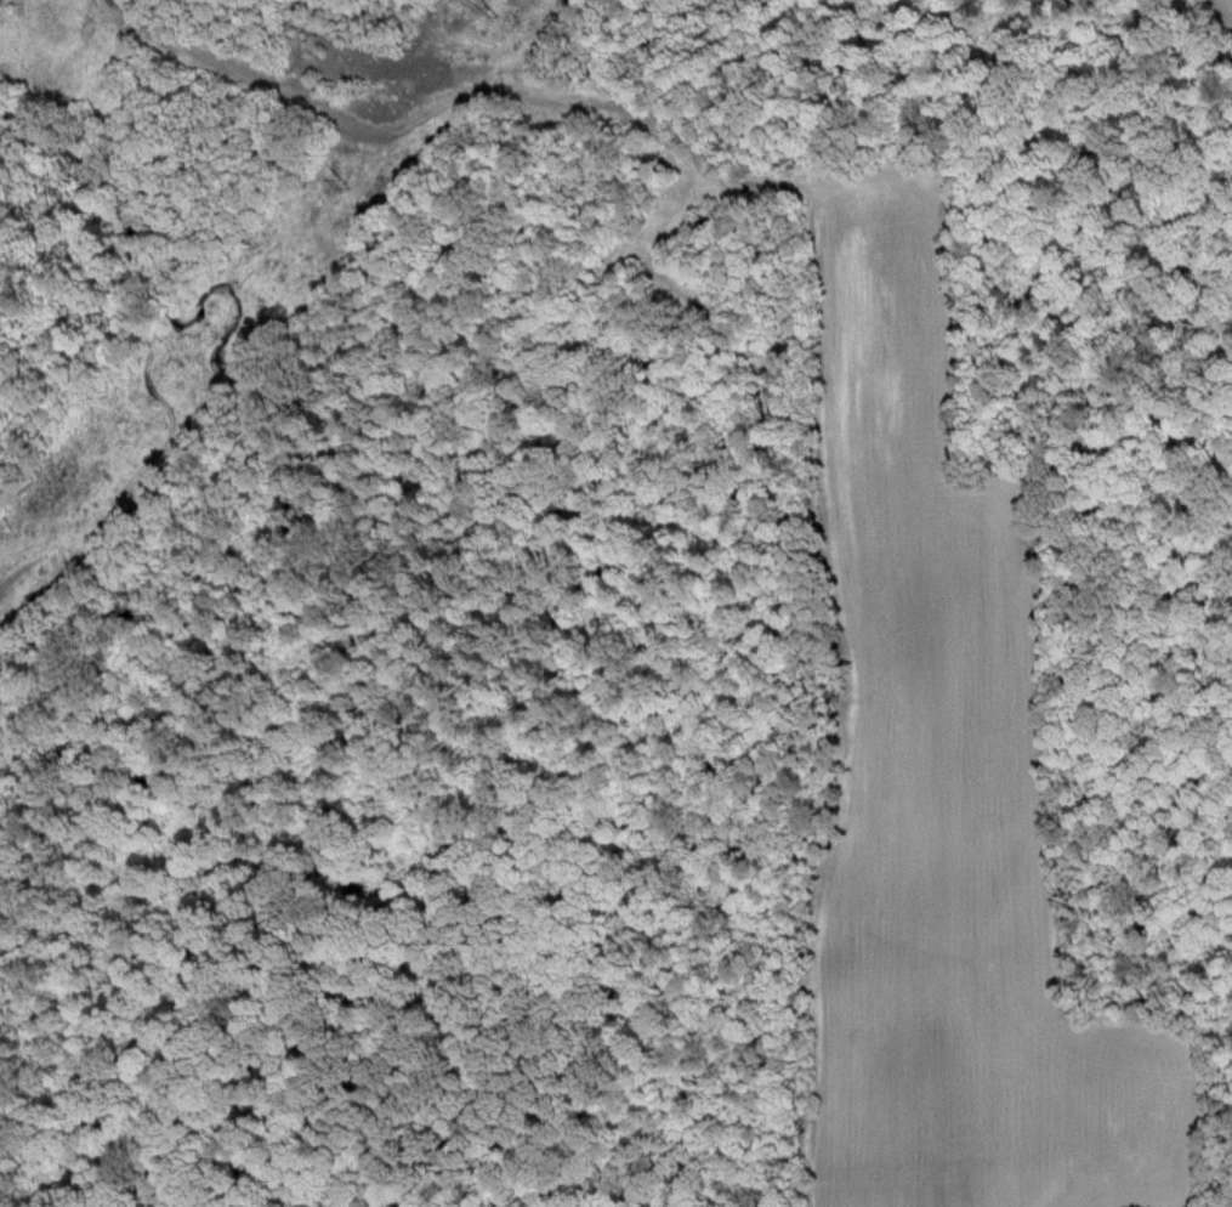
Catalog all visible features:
power tower: (505, 2)
power tower: (351, 182)

